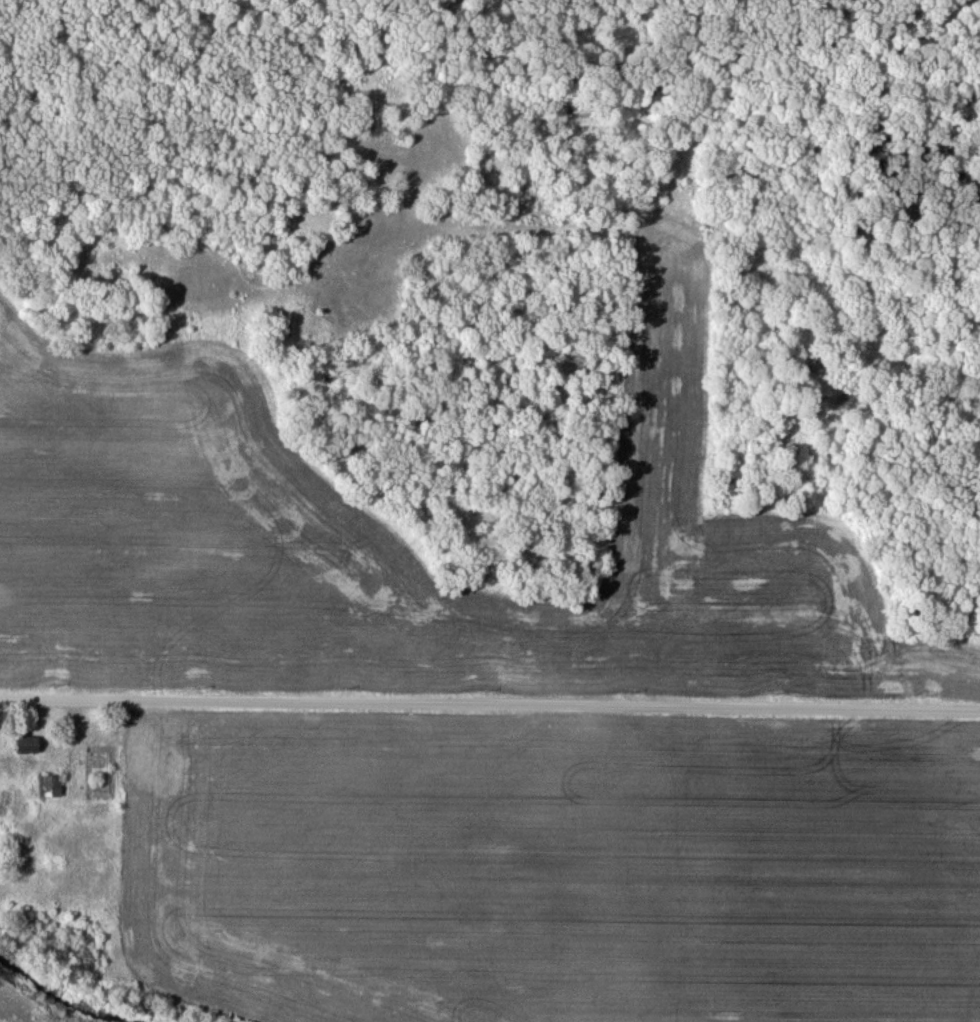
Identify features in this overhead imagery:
road: (490, 704)
building: (26, 745)
building: (48, 787)

